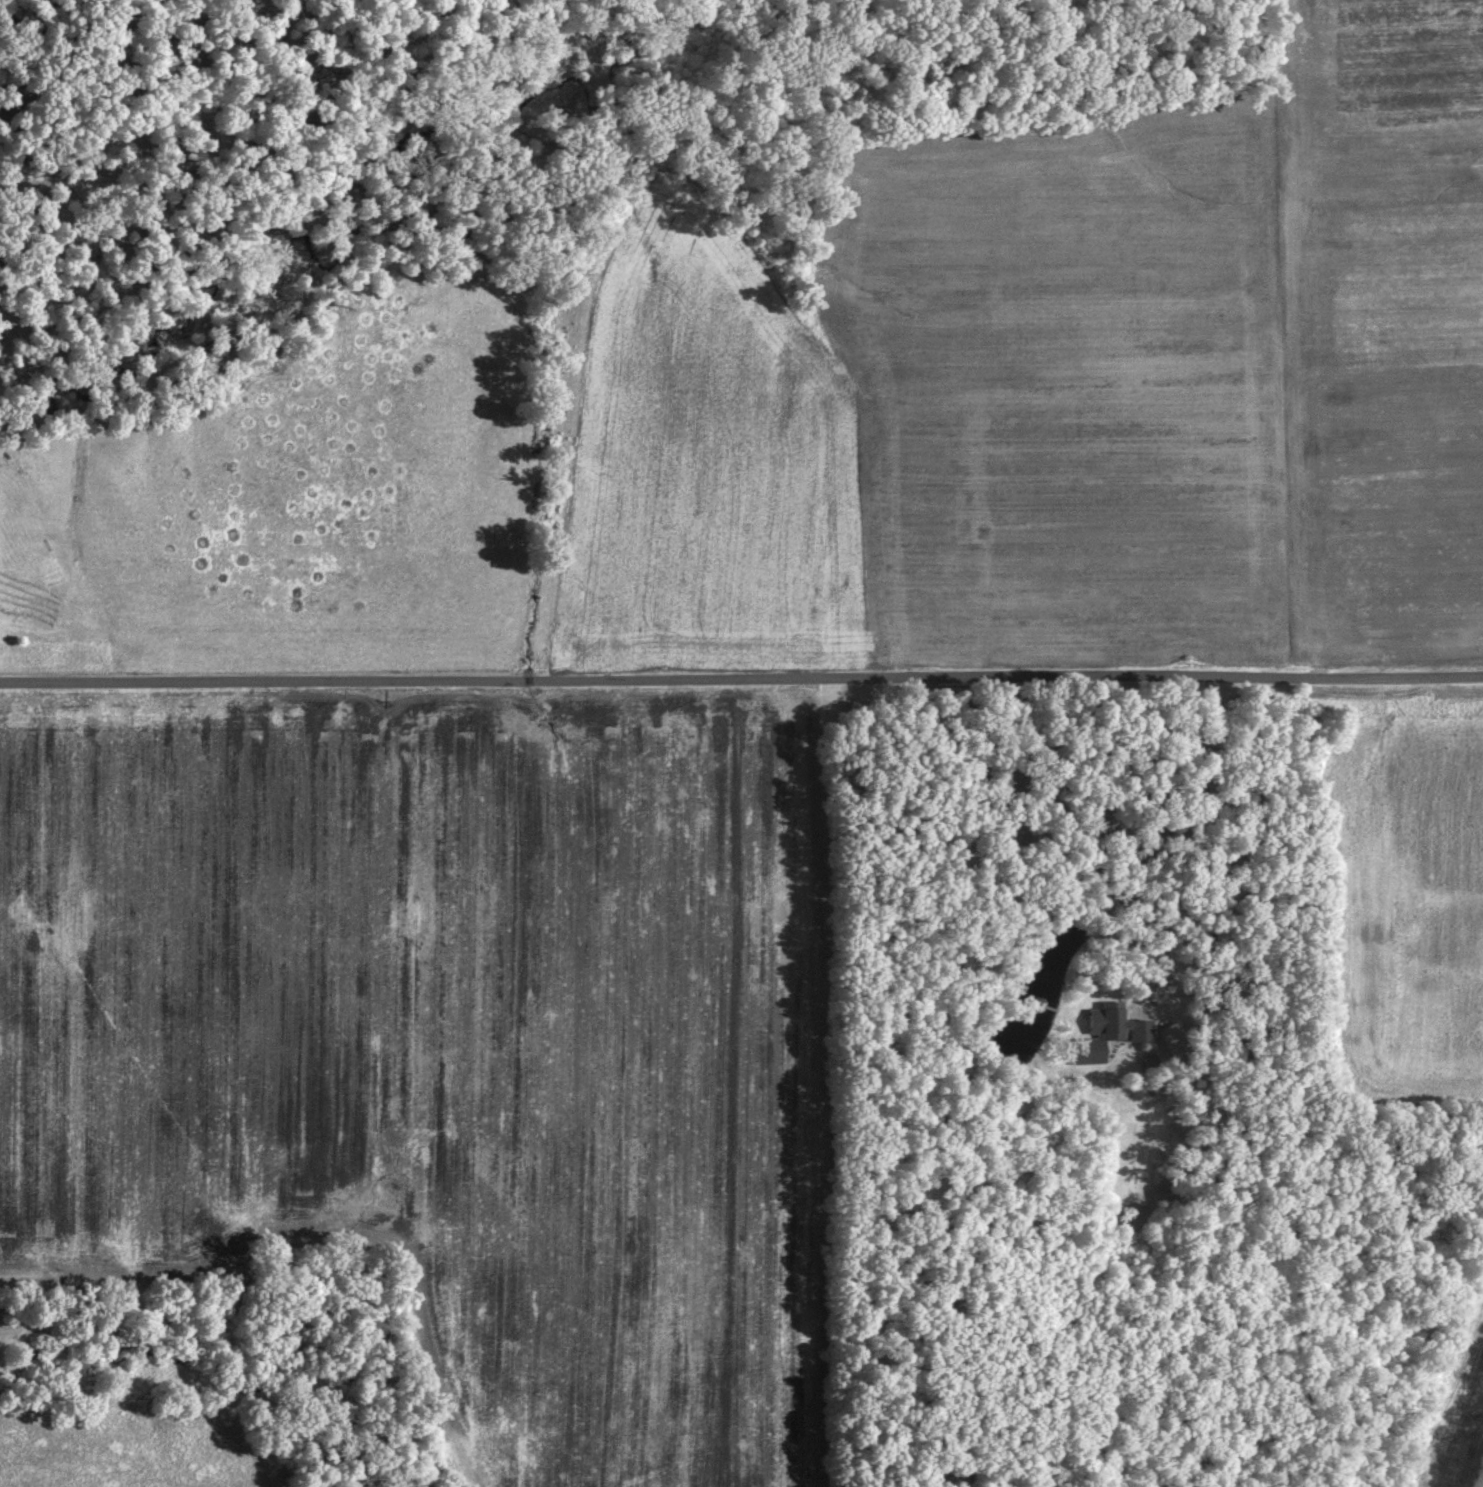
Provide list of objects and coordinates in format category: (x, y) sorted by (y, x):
road: (741, 677)
road: (1069, 805)
building: (1102, 1038)

